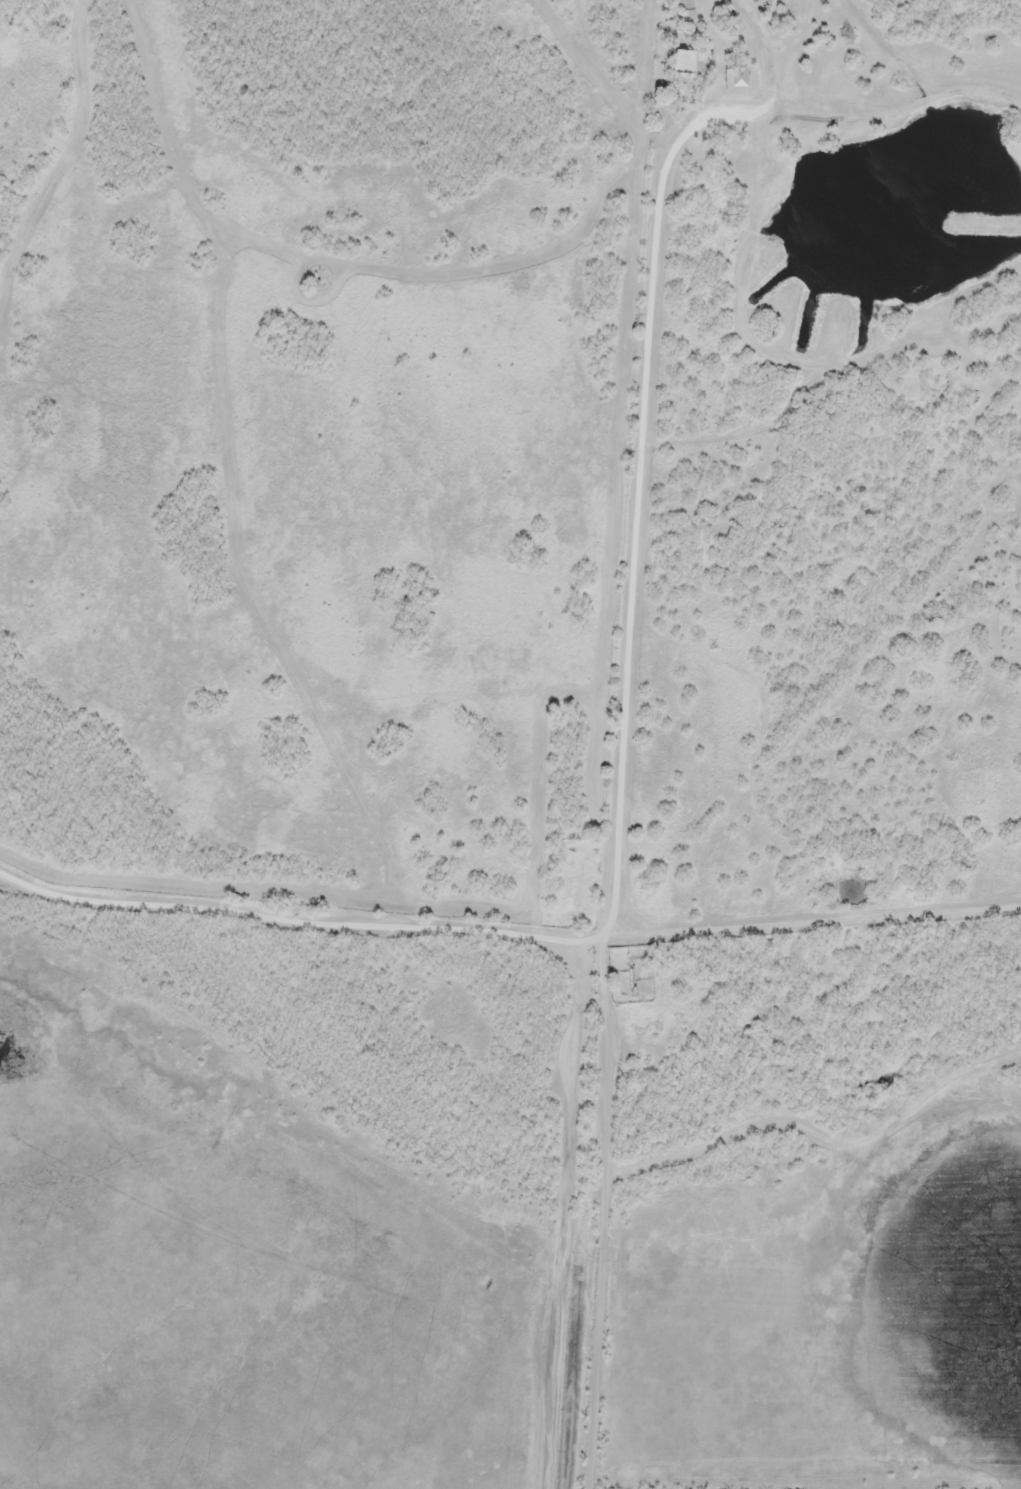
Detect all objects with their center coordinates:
building: (688, 10)
road: (873, 49)
building: (696, 65)
building: (739, 71)
river: (895, 198)
road: (636, 739)
road: (560, 1108)

